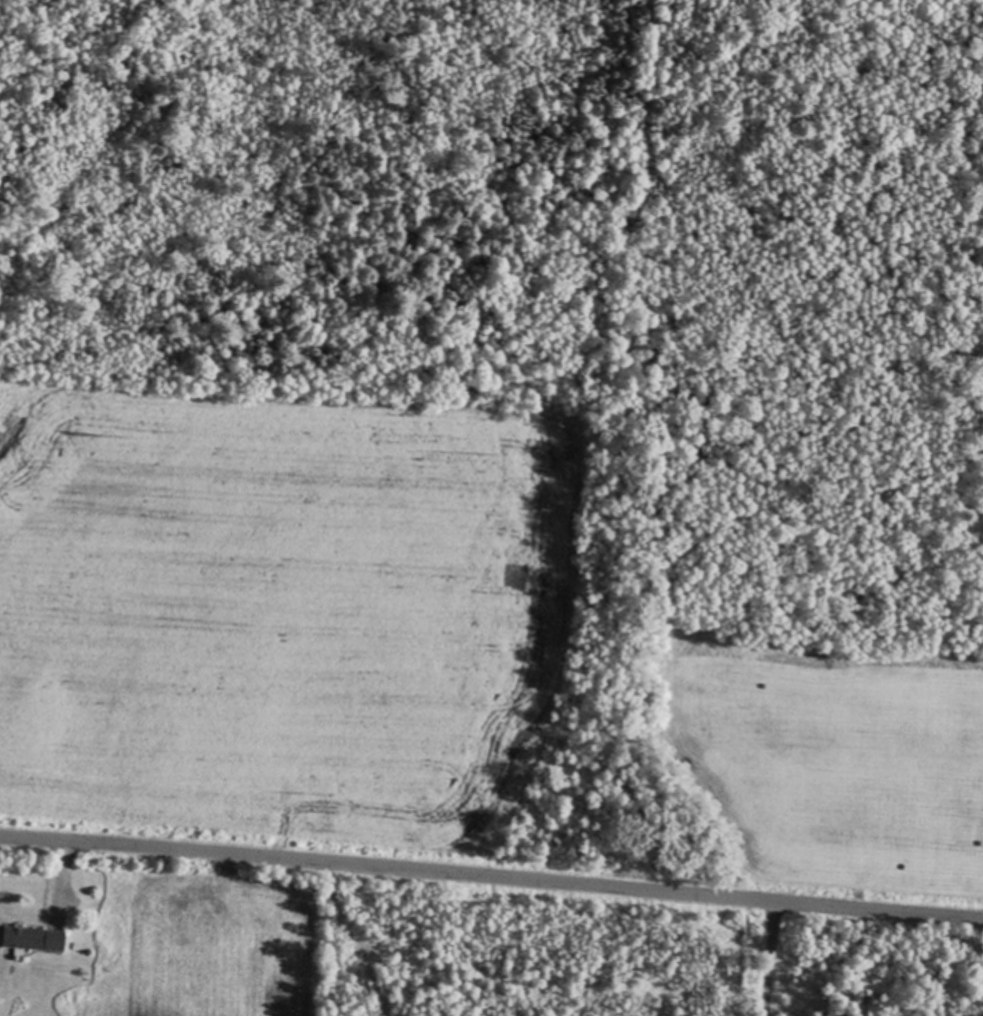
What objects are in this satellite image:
road: (491, 881)
building: (32, 937)
road: (768, 960)

